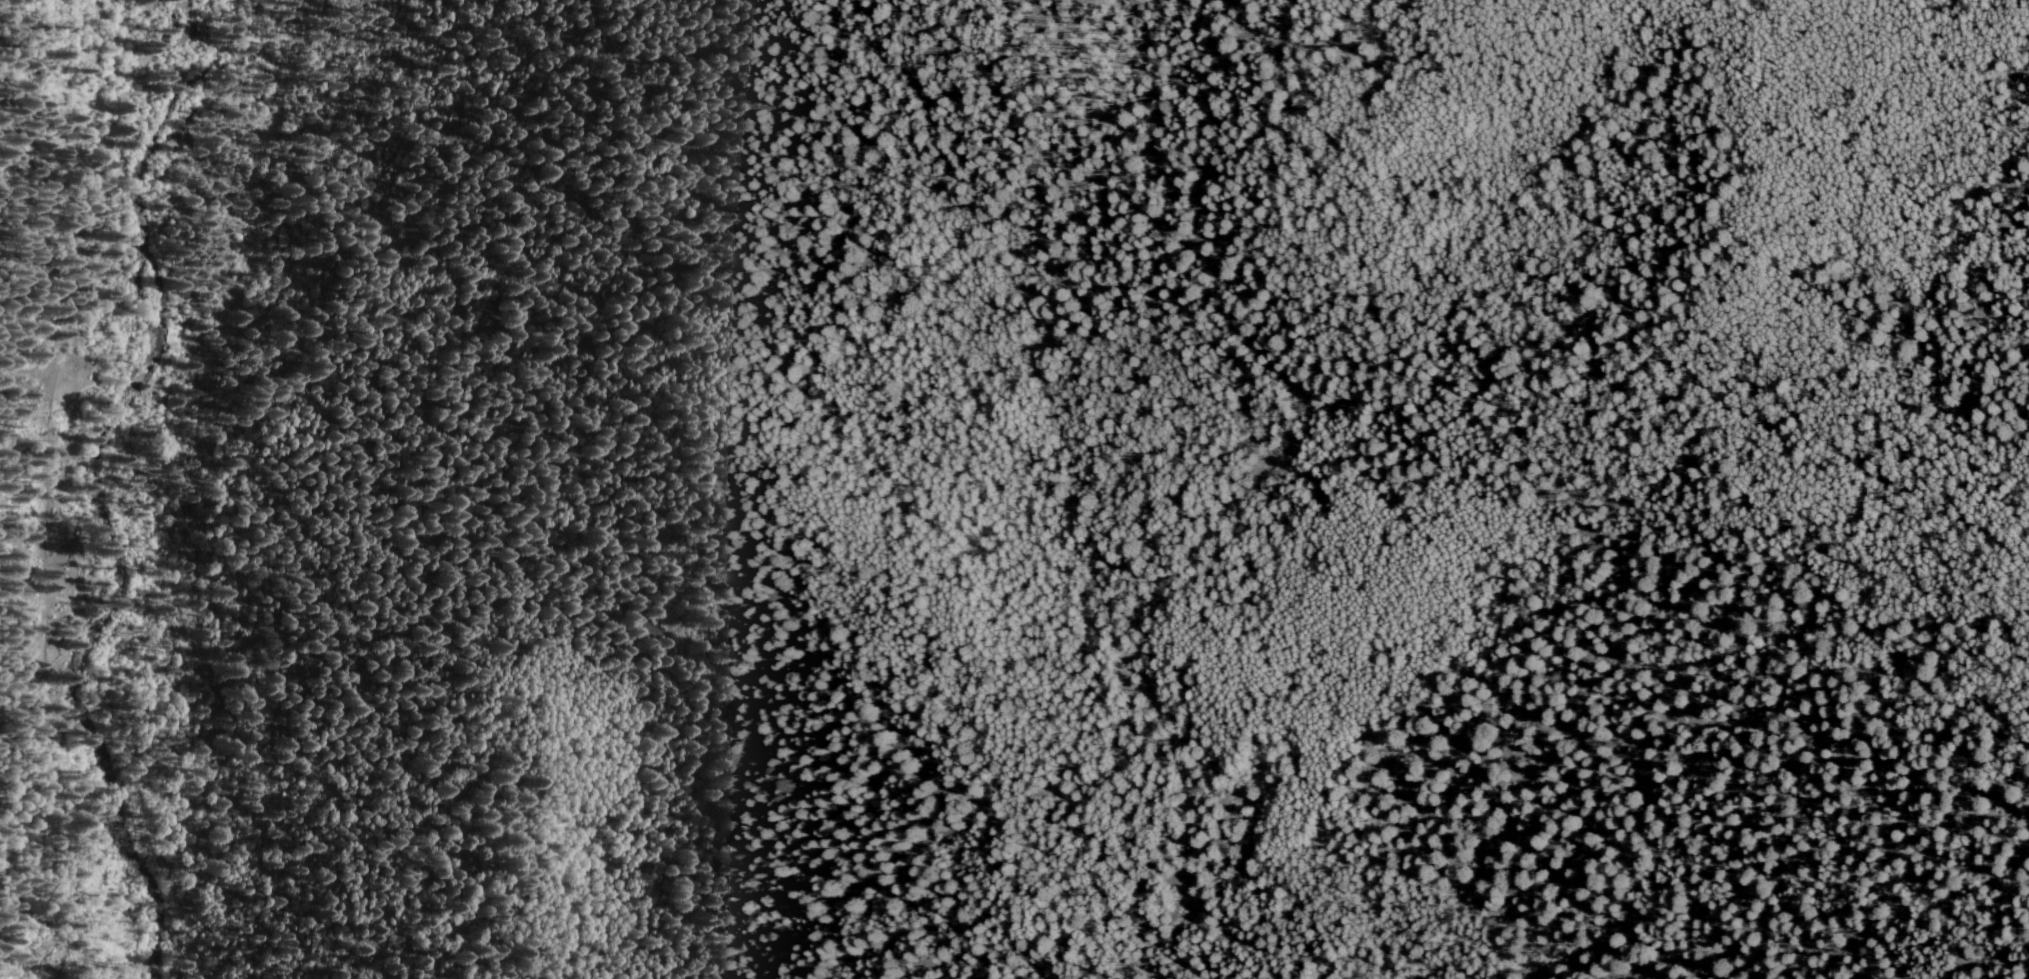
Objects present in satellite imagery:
road: (29, 374)
river: (103, 478)
road: (54, 544)

